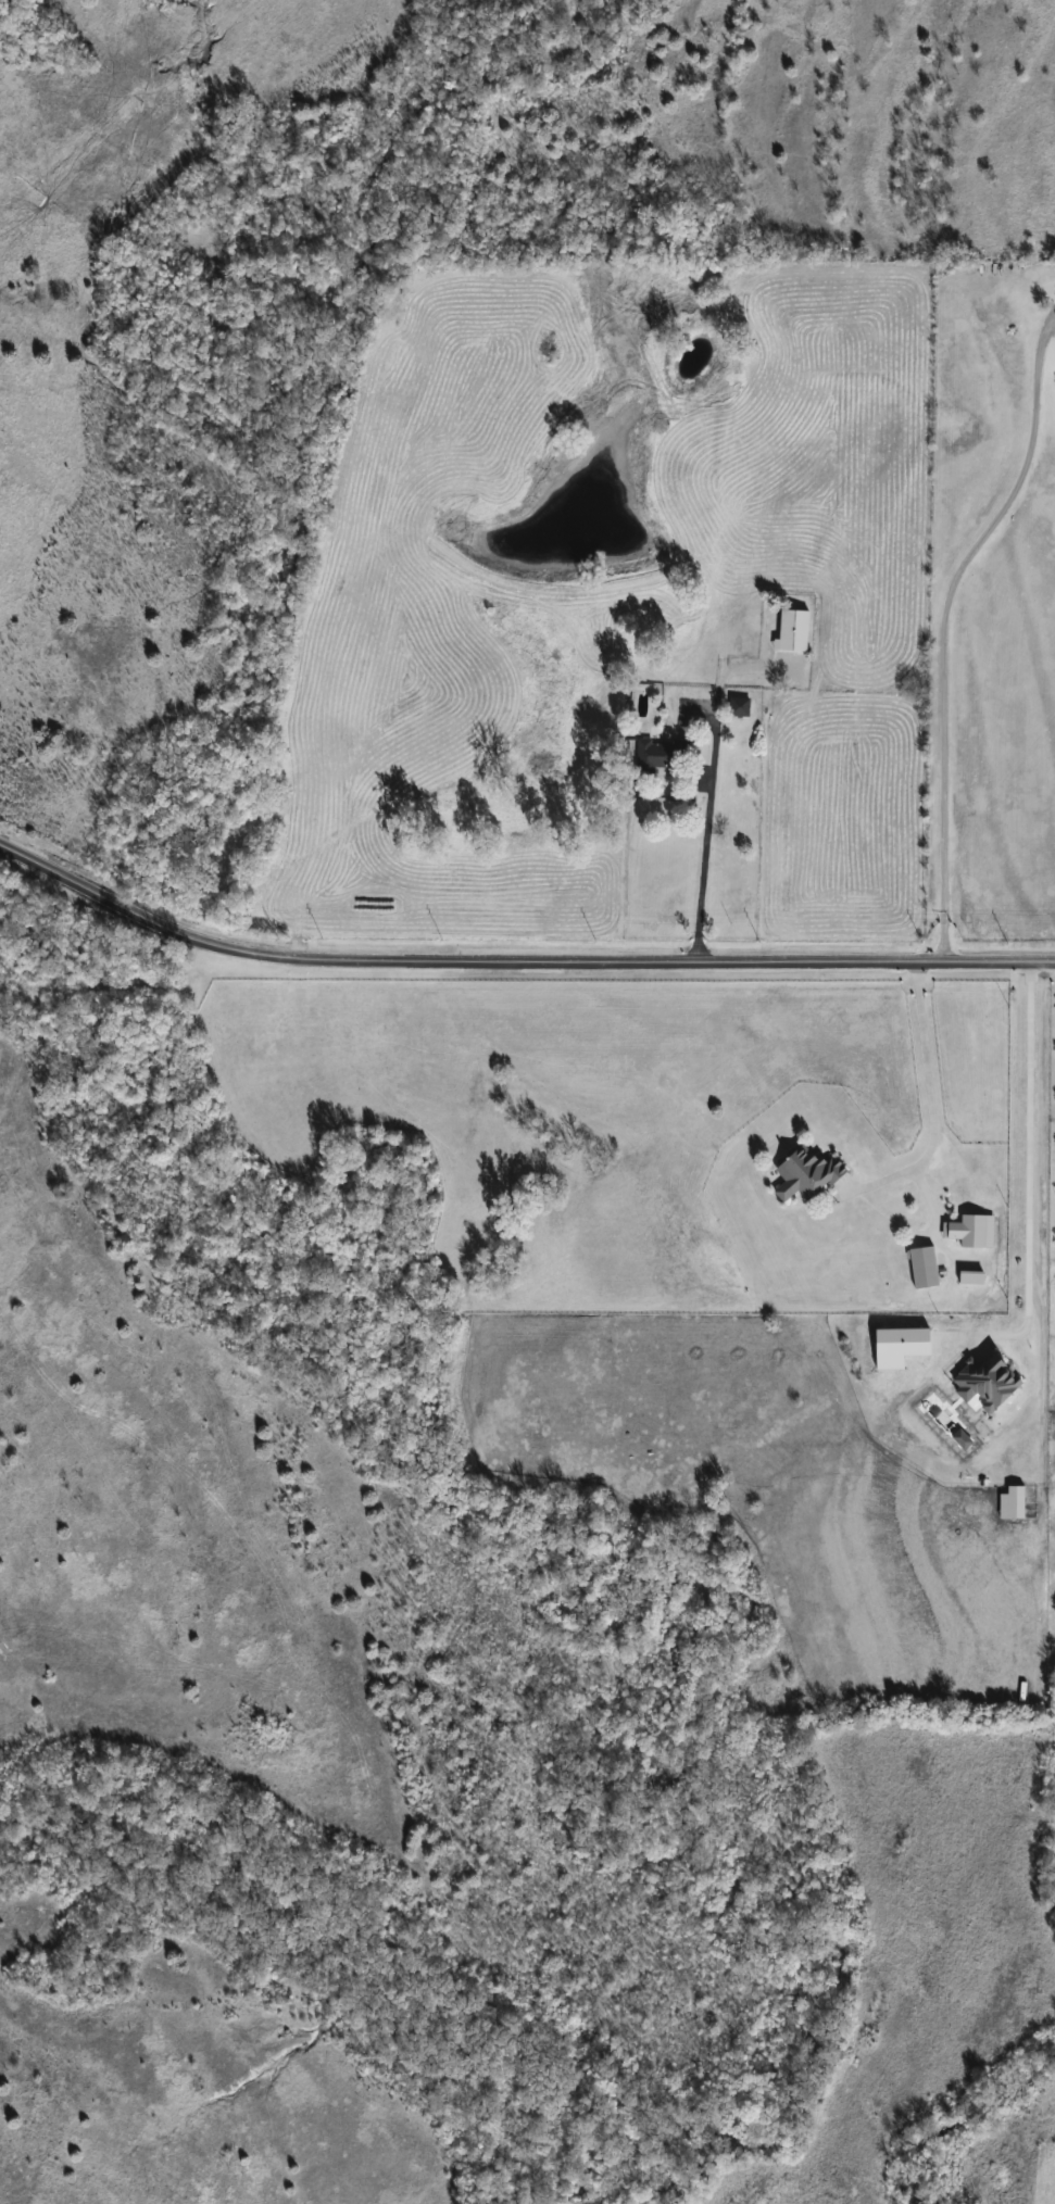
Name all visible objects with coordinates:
building: (791, 630)
road: (943, 630)
building: (739, 707)
building: (664, 755)
road: (700, 842)
road: (516, 966)
road: (926, 1095)
road: (1027, 1171)
building: (804, 1174)
building: (962, 1249)
building: (921, 1268)

